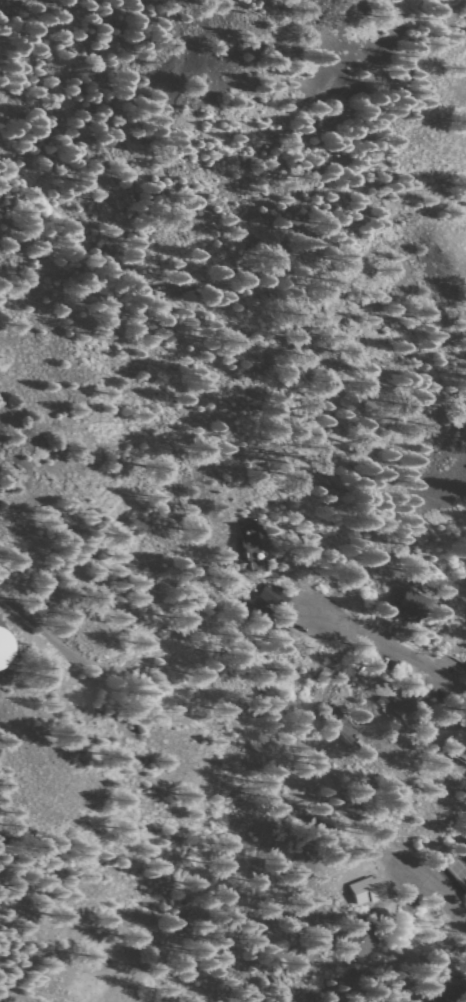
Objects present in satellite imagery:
building: (250, 545)
building: (267, 594)
building: (415, 606)
building: (4, 648)
road: (392, 648)
building: (402, 705)
road: (218, 708)
building: (457, 747)
building: (365, 890)
road: (439, 895)
building: (360, 945)
road: (62, 982)
road: (98, 996)

